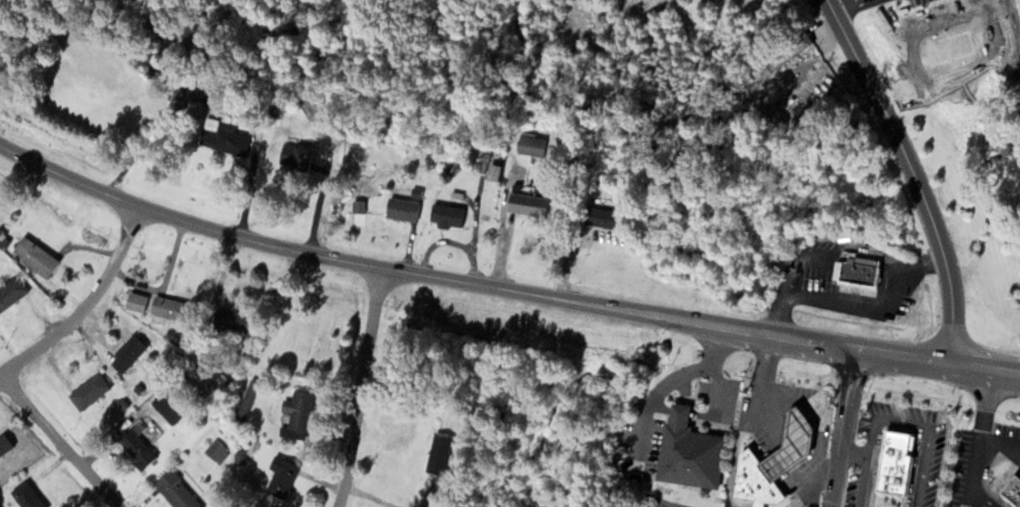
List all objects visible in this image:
road: (834, 1)
building: (785, 48)
building: (224, 138)
building: (530, 144)
building: (294, 156)
road: (913, 174)
building: (527, 203)
building: (402, 208)
building: (34, 255)
building: (857, 271)
road: (502, 287)
building: (11, 291)
building: (135, 300)
road: (86, 304)
building: (169, 308)
building: (231, 320)
building: (127, 353)
road: (362, 388)
building: (88, 390)
building: (248, 397)
building: (297, 410)
road: (842, 427)
road: (61, 440)
building: (792, 445)
building: (135, 447)
building: (683, 449)
building: (437, 453)
building: (903, 474)
building: (281, 475)
building: (755, 481)
building: (176, 490)
building: (1011, 490)
building: (26, 495)

